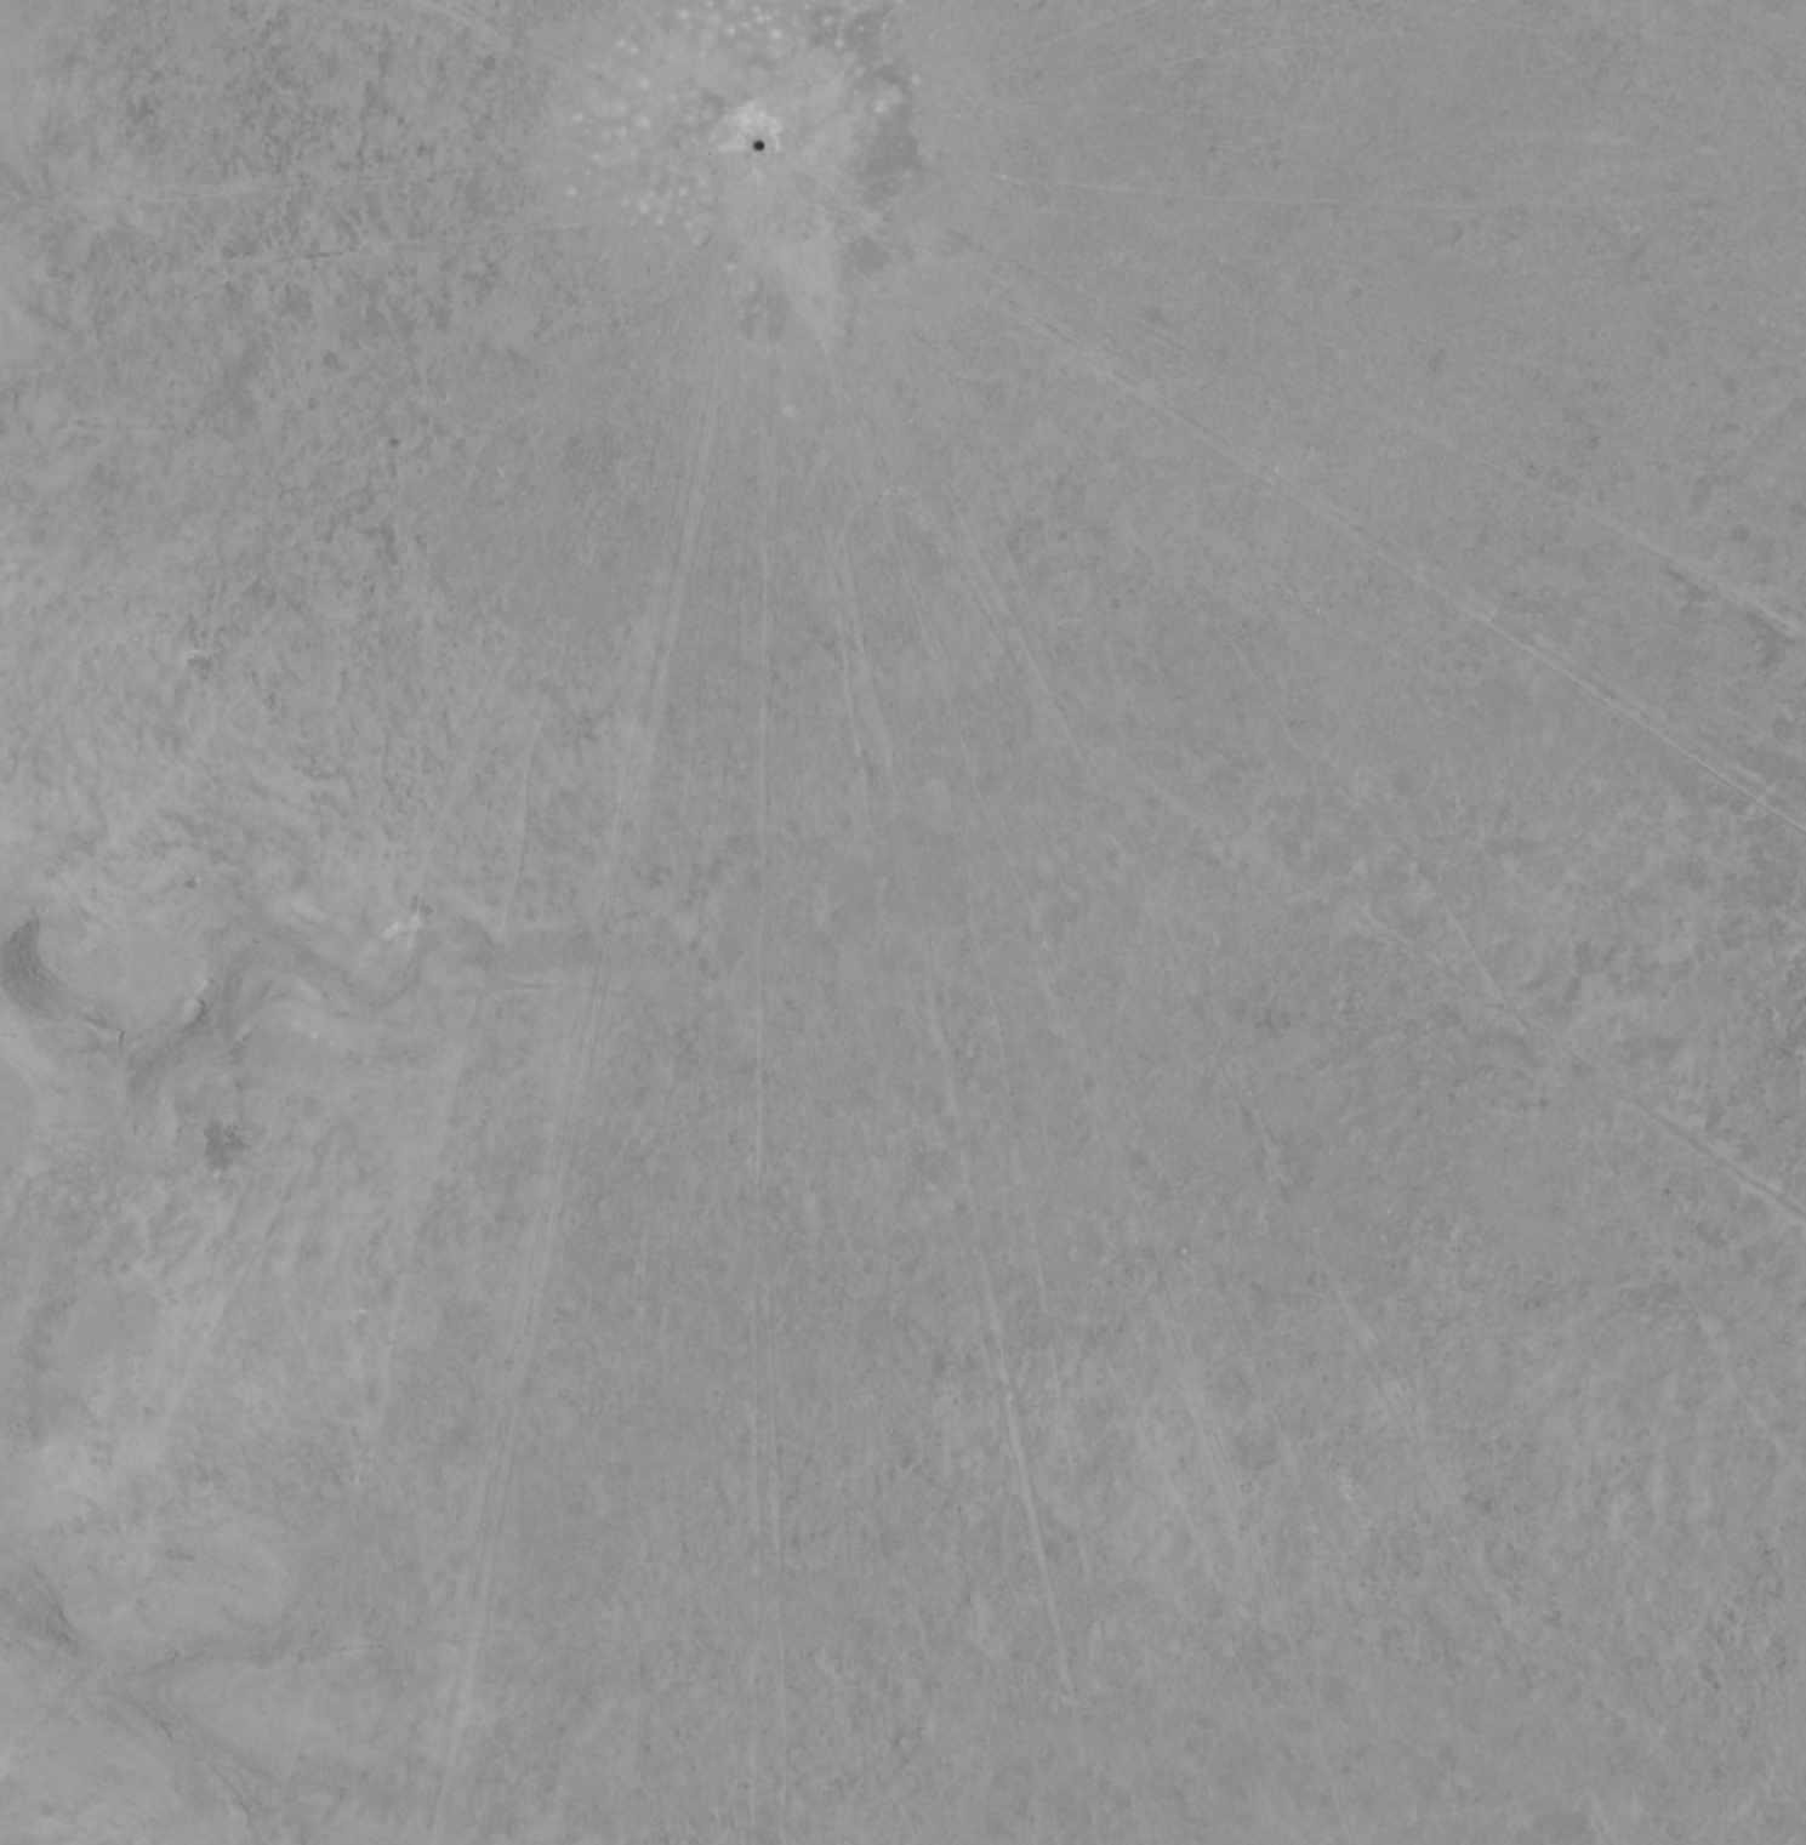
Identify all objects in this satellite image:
road: (1049, 705)

